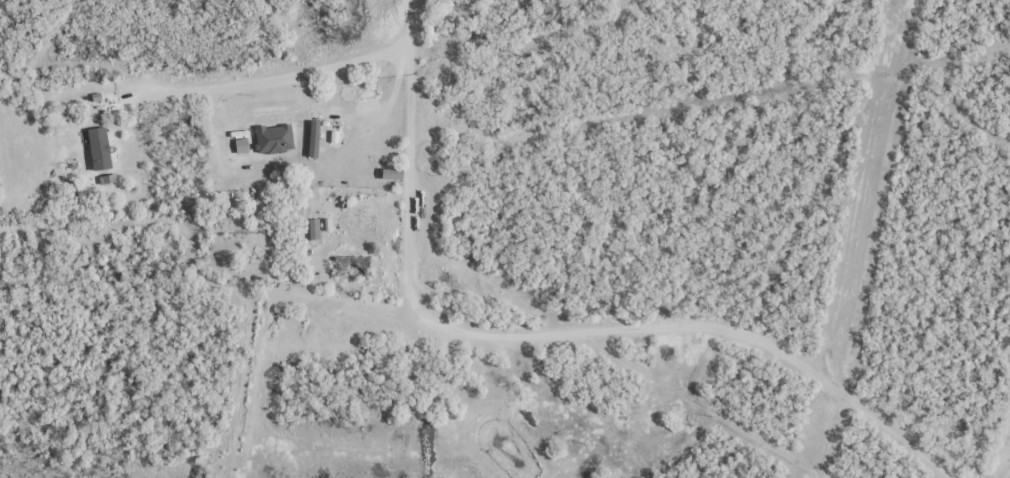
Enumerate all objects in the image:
building: (146, 75)
road: (298, 75)
building: (271, 134)
building: (333, 136)
building: (314, 137)
building: (240, 145)
building: (96, 146)
building: (392, 148)
building: (388, 172)
building: (311, 228)
building: (348, 265)
road: (565, 330)

